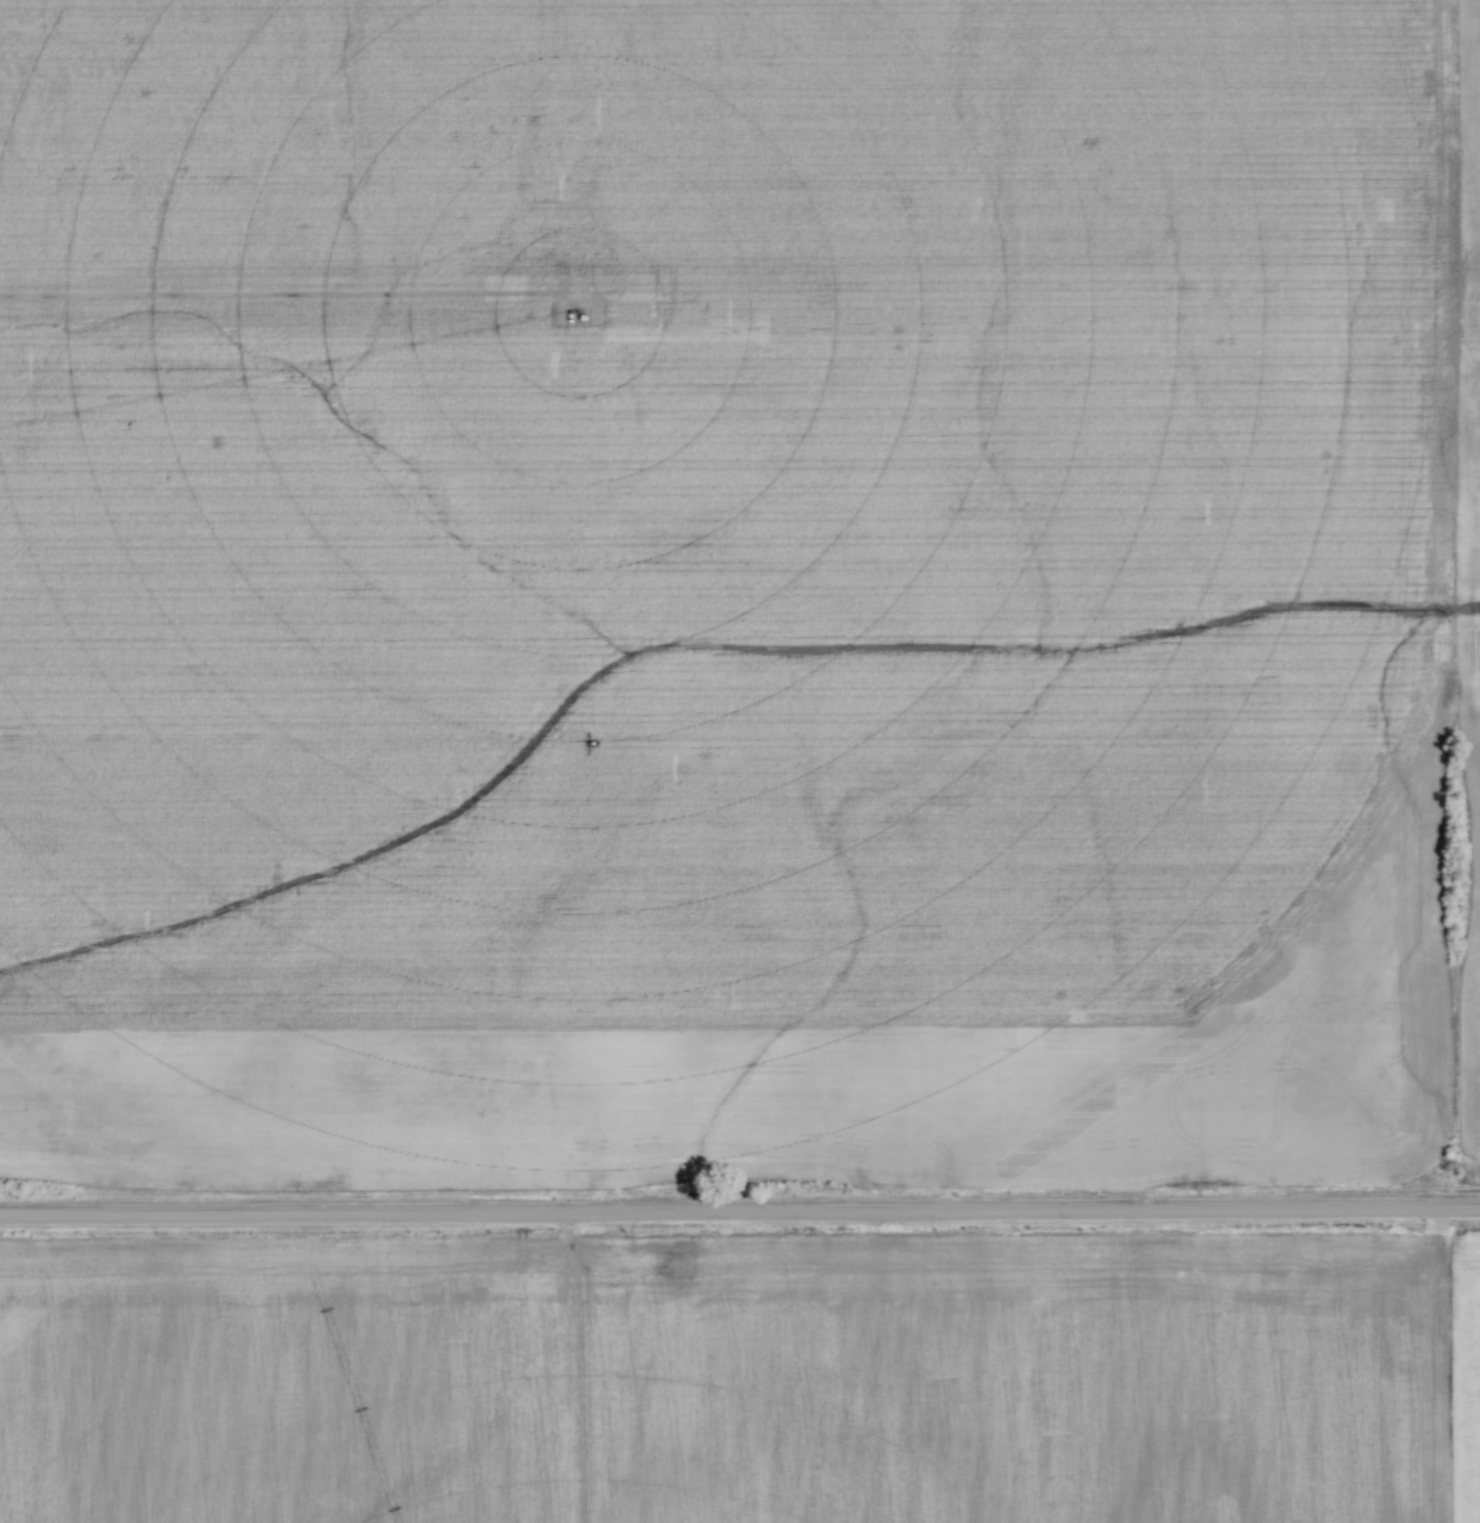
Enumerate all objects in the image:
road: (740, 1212)

